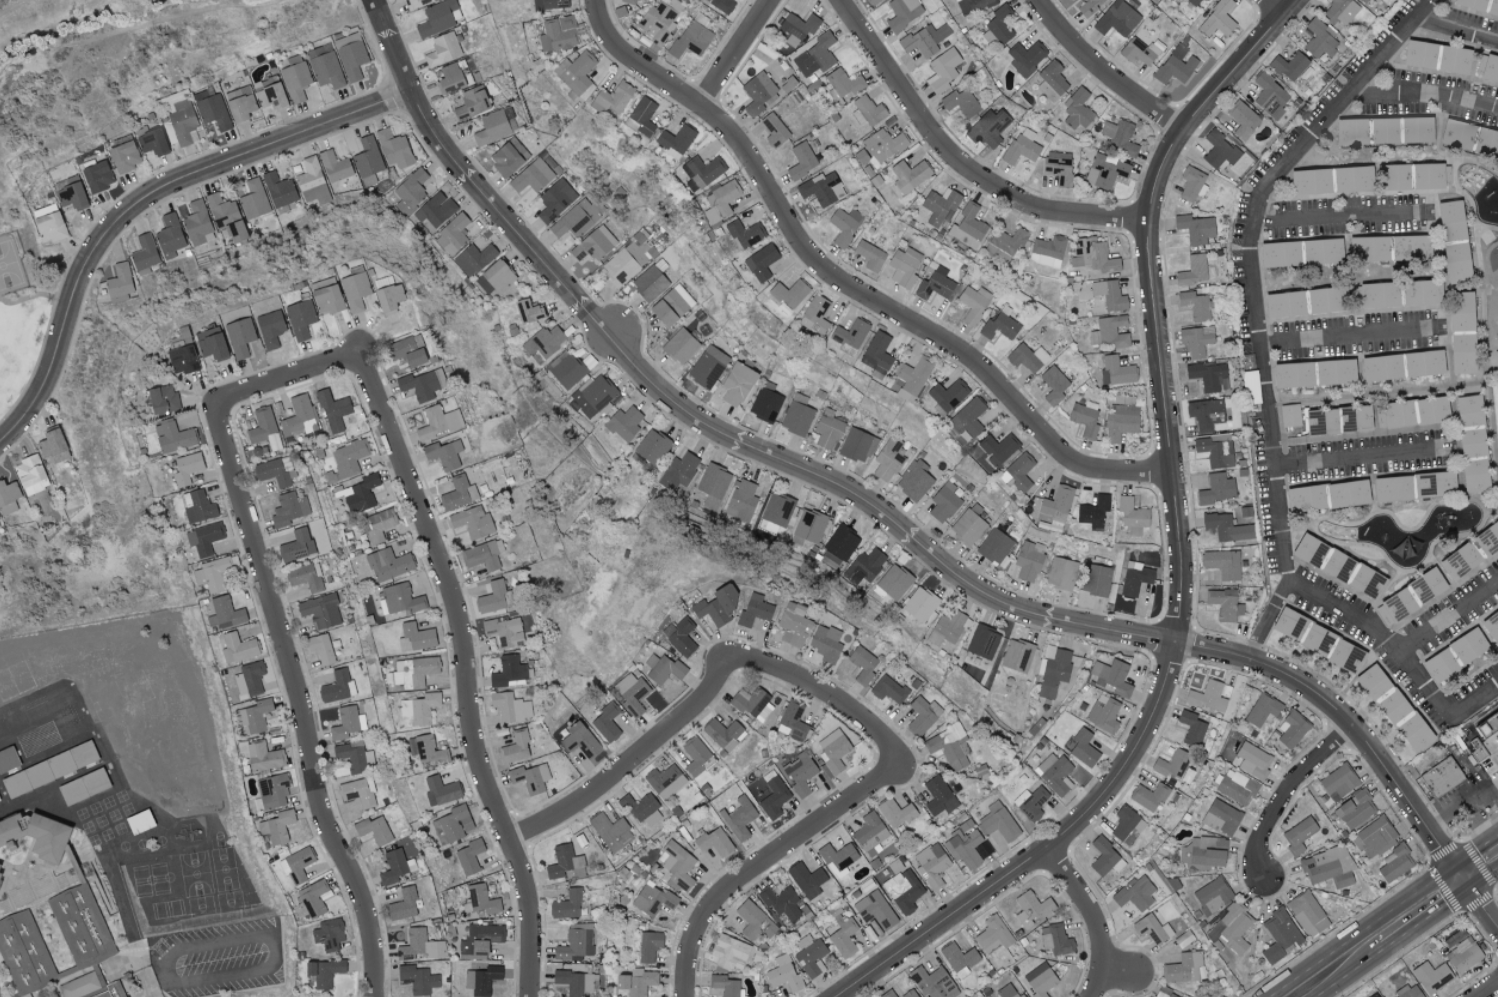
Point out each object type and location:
building: (1205, 0)
building: (628, 1)
building: (872, 1)
building: (1363, 1)
building: (1193, 2)
building: (415, 3)
building: (1471, 3)
building: (550, 4)
building: (721, 5)
building: (972, 5)
building: (1088, 6)
road: (15, 7)
road: (1275, 8)
building: (1493, 8)
road: (599, 10)
building: (1340, 11)
building: (902, 12)
building: (436, 18)
building: (1116, 18)
building: (1217, 19)
building: (1000, 23)
building: (657, 24)
building: (798, 27)
road: (1456, 28)
building: (558, 33)
building: (692, 39)
building: (1320, 39)
building: (919, 43)
building: (442, 49)
building: (1138, 51)
road: (741, 54)
building: (1418, 54)
building: (350, 55)
building: (814, 56)
building: (1026, 57)
building: (1453, 59)
building: (1176, 65)
building: (324, 66)
building: (1289, 66)
building: (1487, 68)
building: (942, 70)
building: (575, 72)
road: (1102, 74)
building: (294, 77)
building: (449, 78)
building: (1051, 80)
building: (843, 86)
building: (757, 92)
road: (1423, 93)
building: (1269, 96)
building: (613, 99)
building: (472, 102)
building: (960, 102)
building: (239, 104)
building: (211, 108)
building: (1077, 110)
building: (866, 111)
building: (642, 116)
building: (1242, 119)
building: (182, 123)
building: (495, 126)
building: (987, 128)
building: (1384, 129)
building: (1416, 129)
building: (774, 130)
building: (1350, 131)
building: (1456, 133)
building: (1119, 136)
building: (677, 139)
building: (151, 141)
building: (1486, 141)
building: (882, 145)
building: (1022, 146)
building: (394, 148)
building: (1218, 150)
building: (123, 156)
building: (508, 156)
building: (368, 157)
building: (801, 160)
road: (959, 163)
building: (335, 166)
building: (1058, 167)
building: (703, 170)
building: (1105, 170)
building: (909, 175)
building: (1431, 175)
building: (97, 176)
building: (531, 176)
building: (1393, 176)
building: (1352, 178)
building: (312, 181)
building: (1310, 181)
building: (1192, 184)
building: (822, 189)
building: (279, 190)
building: (410, 190)
building: (71, 195)
building: (254, 199)
building: (555, 200)
road: (147, 201)
building: (720, 201)
building: (939, 205)
building: (435, 209)
building: (226, 217)
building: (577, 218)
road: (1335, 218)
building: (48, 223)
building: (197, 223)
building: (967, 224)
building: (844, 225)
building: (1195, 228)
building: (452, 234)
building: (744, 234)
building: (169, 236)
building: (1452, 240)
building: (1005, 243)
building: (593, 244)
building: (1410, 246)
building: (1368, 248)
building: (1321, 250)
building: (1047, 251)
building: (144, 252)
building: (1279, 253)
building: (1092, 255)
building: (870, 256)
building: (474, 259)
building: (761, 262)
building: (624, 263)
building: (904, 266)
park: (10, 268)
building: (1195, 270)
building: (496, 277)
building: (119, 282)
building: (382, 282)
building: (650, 283)
building: (935, 284)
road: (859, 289)
building: (355, 290)
building: (1420, 292)
building: (790, 293)
building: (1109, 294)
building: (1376, 294)
road: (38, 295)
building: (325, 296)
road: (1154, 296)
building: (388, 298)
building: (1322, 299)
park: (23, 304)
building: (1283, 304)
building: (671, 305)
building: (972, 305)
building: (1195, 305)
building: (528, 311)
building: (1460, 311)
building: (815, 315)
building: (300, 318)
building: (999, 325)
building: (270, 329)
building: (1108, 332)
building: (239, 336)
building: (850, 336)
road: (1345, 336)
building: (1195, 341)
building: (210, 343)
building: (543, 343)
building: (680, 346)
building: (406, 351)
building: (1461, 353)
building: (877, 354)
building: (1026, 357)
building: (181, 359)
building: (1496, 360)
building: (1423, 363)
building: (708, 366)
building: (1380, 367)
building: (1116, 370)
building: (568, 371)
building: (1334, 371)
building: (1292, 374)
building: (1208, 375)
building: (913, 378)
road: (285, 382)
building: (737, 383)
building: (422, 384)
building: (1053, 384)
road: (1266, 394)
building: (596, 395)
building: (947, 396)
building: (162, 399)
building: (766, 402)
building: (1431, 409)
building: (1468, 410)
building: (333, 411)
building: (1205, 413)
building: (1393, 414)
building: (797, 415)
building: (1290, 415)
building: (298, 417)
building: (968, 417)
building: (1084, 418)
building: (1354, 418)
road: (697, 421)
building: (438, 422)
building: (1320, 422)
building: (624, 423)
building: (264, 428)
building: (827, 429)
building: (168, 437)
building: (1471, 443)
building: (857, 445)
building: (52, 446)
building: (652, 446)
building: (998, 448)
building: (1215, 451)
building: (444, 453)
building: (348, 457)
road: (1359, 457)
building: (888, 459)
building: (186, 468)
building: (275, 471)
building: (678, 471)
building: (1018, 472)
building: (30, 475)
building: (1473, 476)
building: (914, 480)
building: (1433, 484)
building: (713, 485)
building: (442, 487)
building: (1391, 488)
building: (1216, 489)
building: (358, 493)
building: (459, 493)
building: (1347, 493)
building: (8, 497)
building: (1304, 498)
building: (741, 500)
building: (943, 502)
building: (1057, 504)
building: (197, 506)
building: (289, 508)
building: (777, 509)
building: (1093, 512)
building: (1132, 516)
building: (473, 521)
building: (378, 525)
building: (809, 527)
building: (967, 527)
building: (1226, 527)
building: (203, 538)
building: (1487, 538)
building: (296, 545)
building: (995, 546)
building: (838, 547)
building: (1310, 551)
building: (483, 555)
building: (1459, 560)
building: (1027, 562)
building: (1222, 563)
building: (388, 564)
building: (864, 566)
building: (1061, 573)
building: (1352, 574)
building: (305, 576)
building: (1134, 578)
building: (1096, 580)
building: (892, 582)
building: (1426, 585)
building: (492, 597)
building: (398, 599)
building: (920, 604)
building: (1224, 604)
building: (716, 605)
building: (1396, 605)
building: (320, 610)
building: (754, 610)
building: (224, 613)
road: (1449, 615)
road: (1267, 620)
building: (1288, 623)
building: (793, 624)
building: (1491, 625)
building: (946, 630)
building: (504, 631)
building: (680, 636)
building: (415, 637)
building: (1317, 640)
building: (983, 642)
building: (826, 643)
building: (237, 647)
building: (320, 648)
building: (1017, 655)
building: (1454, 655)
building: (1345, 656)
building: (862, 665)
building: (663, 669)
building: (414, 671)
building: (510, 671)
road: (465, 672)
building: (1112, 676)
building: (249, 679)
building: (29, 680)
building: (337, 687)
building: (888, 689)
building: (630, 692)
road: (831, 694)
building: (1207, 696)
road: (298, 701)
building: (752, 703)
building: (510, 707)
building: (420, 708)
building: (1262, 710)
building: (1103, 713)
building: (922, 715)
building: (38, 716)
building: (253, 717)
building: (1404, 721)
building: (606, 722)
building: (792, 722)
building: (347, 723)
road: (1347, 723)
building: (1488, 727)
building: (1191, 728)
building: (1291, 729)
building: (723, 734)
building: (579, 740)
building: (949, 744)
building: (515, 747)
building: (1083, 748)
road: (1493, 749)
building: (429, 750)
building: (833, 751)
building: (695, 755)
building: (263, 756)
building: (353, 756)
building: (1482, 758)
building: (49, 759)
road: (633, 759)
building: (1252, 760)
building: (1172, 764)
building: (799, 773)
building: (1054, 773)
building: (530, 778)
building: (664, 781)
building: (1338, 782)
building: (1445, 782)
building: (1236, 787)
building: (88, 791)
building: (441, 791)
building: (273, 792)
building: (359, 792)
road: (1287, 793)
building: (938, 796)
building: (1148, 796)
building: (773, 798)
building: (2, 800)
building: (1031, 802)
road: (1462, 805)
building: (641, 809)
building: (1355, 809)
building: (895, 812)
building: (1221, 817)
building: (740, 818)
building: (998, 821)
building: (452, 825)
building: (1127, 825)
building: (145, 827)
building: (277, 827)
building: (374, 830)
building: (610, 831)
building: (870, 833)
building: (35, 835)
building: (1298, 835)
building: (1375, 838)
building: (714, 842)
building: (963, 844)
road: (1043, 849)
building: (1207, 851)
building: (837, 855)
building: (469, 856)
building: (1105, 858)
building: (562, 861)
road: (764, 863)
building: (1394, 863)
building: (932, 864)
building: (676, 865)
building: (297, 866)
building: (897, 866)
building: (396, 867)
building: (1328, 867)
road: (1480, 867)
building: (806, 879)
traffic signals: (1462, 880)
building: (904, 890)
building: (1134, 895)
building: (1212, 896)
building: (313, 898)
building: (653, 899)
building: (481, 900)
building: (780, 902)
road: (1480, 903)
building: (405, 904)
building: (567, 905)
building: (1031, 909)
building: (875, 910)
road: (1420, 910)
building: (1307, 914)
road: (1090, 917)
building: (751, 919)
road: (128, 925)
building: (1232, 927)
building: (1152, 929)
building: (86, 930)
building: (328, 934)
building: (993, 935)
building: (1279, 935)
building: (844, 938)
building: (1055, 940)
building: (480, 941)
building: (575, 942)
building: (419, 945)
building: (649, 946)
road: (276, 950)
building: (730, 953)
building: (27, 954)
building: (1463, 955)
building: (810, 956)
parking lot: (217, 957)
building: (959, 959)
road: (1116, 966)
building: (1184, 968)
road: (1339, 968)
building: (323, 972)
building: (782, 973)
building: (1431, 977)
building: (418, 979)
building: (481, 980)
building: (1040, 980)
building: (576, 982)
building: (636, 982)
building: (933, 982)
building: (724, 985)
building: (77, 986)
road: (1488, 990)
building: (1007, 991)
building: (1408, 991)
building: (113, 992)
building: (1164, 993)
building: (888, 994)
building: (909, 994)
building: (1375, 995)
building: (0, 996)
building: (1150, 996)

